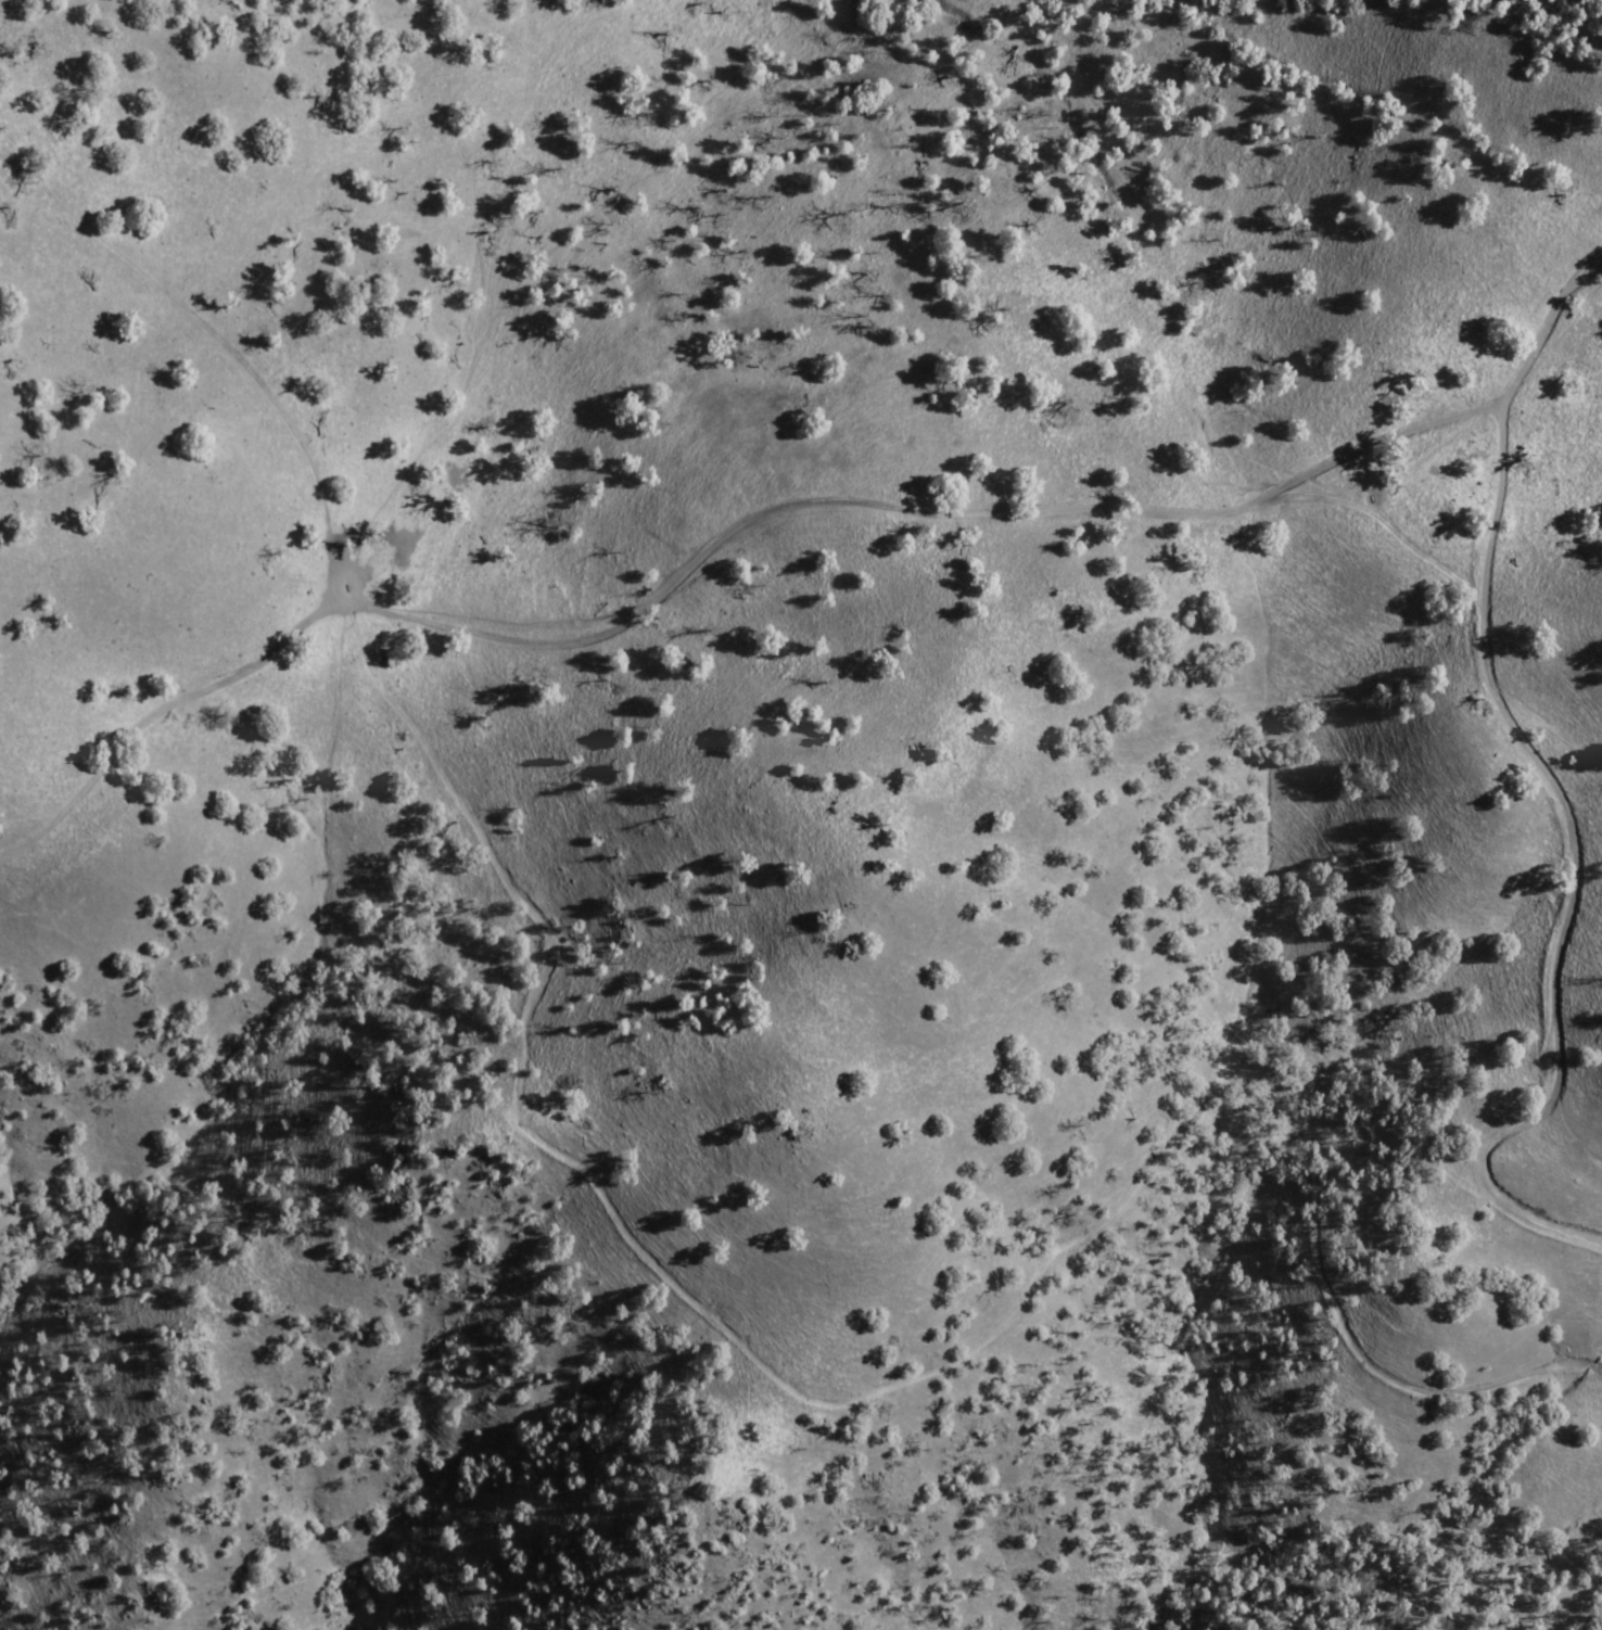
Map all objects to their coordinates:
road: (1496, 510)
road: (719, 555)
road: (1559, 1070)

